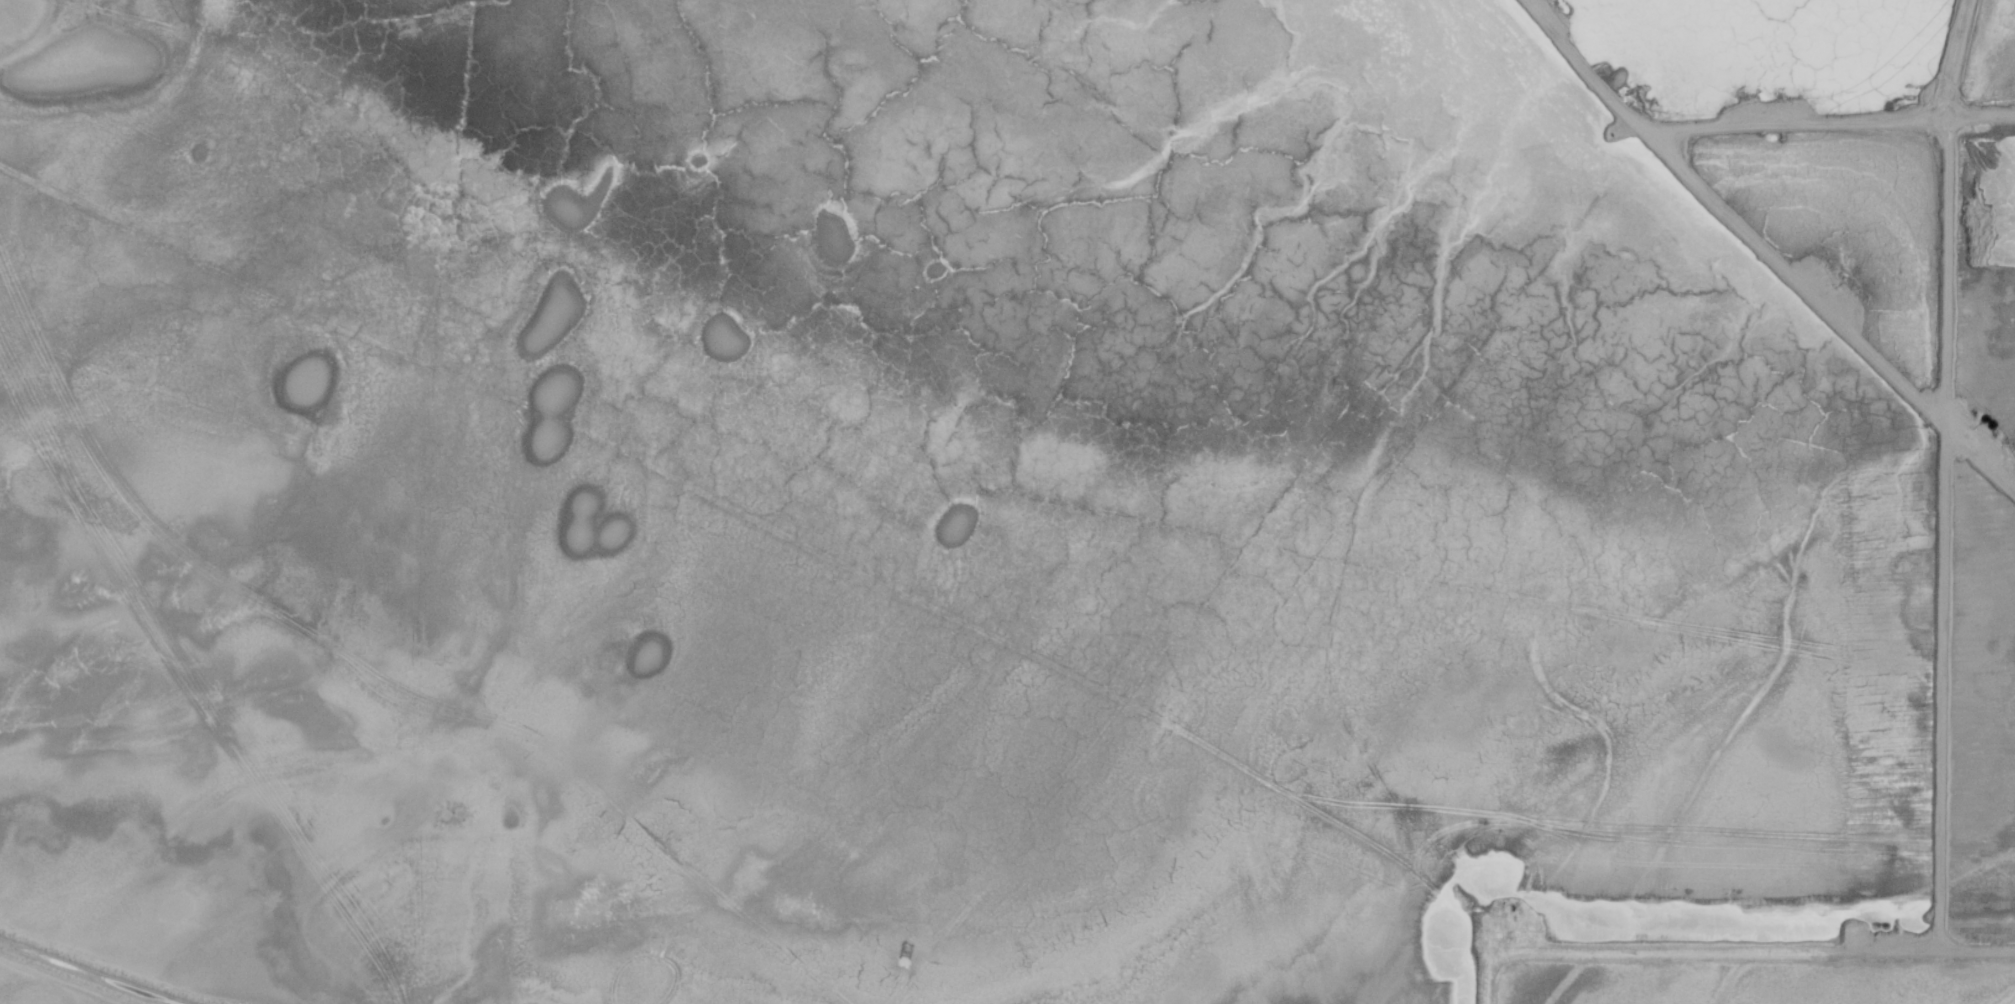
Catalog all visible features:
quarry: (941, 137)

